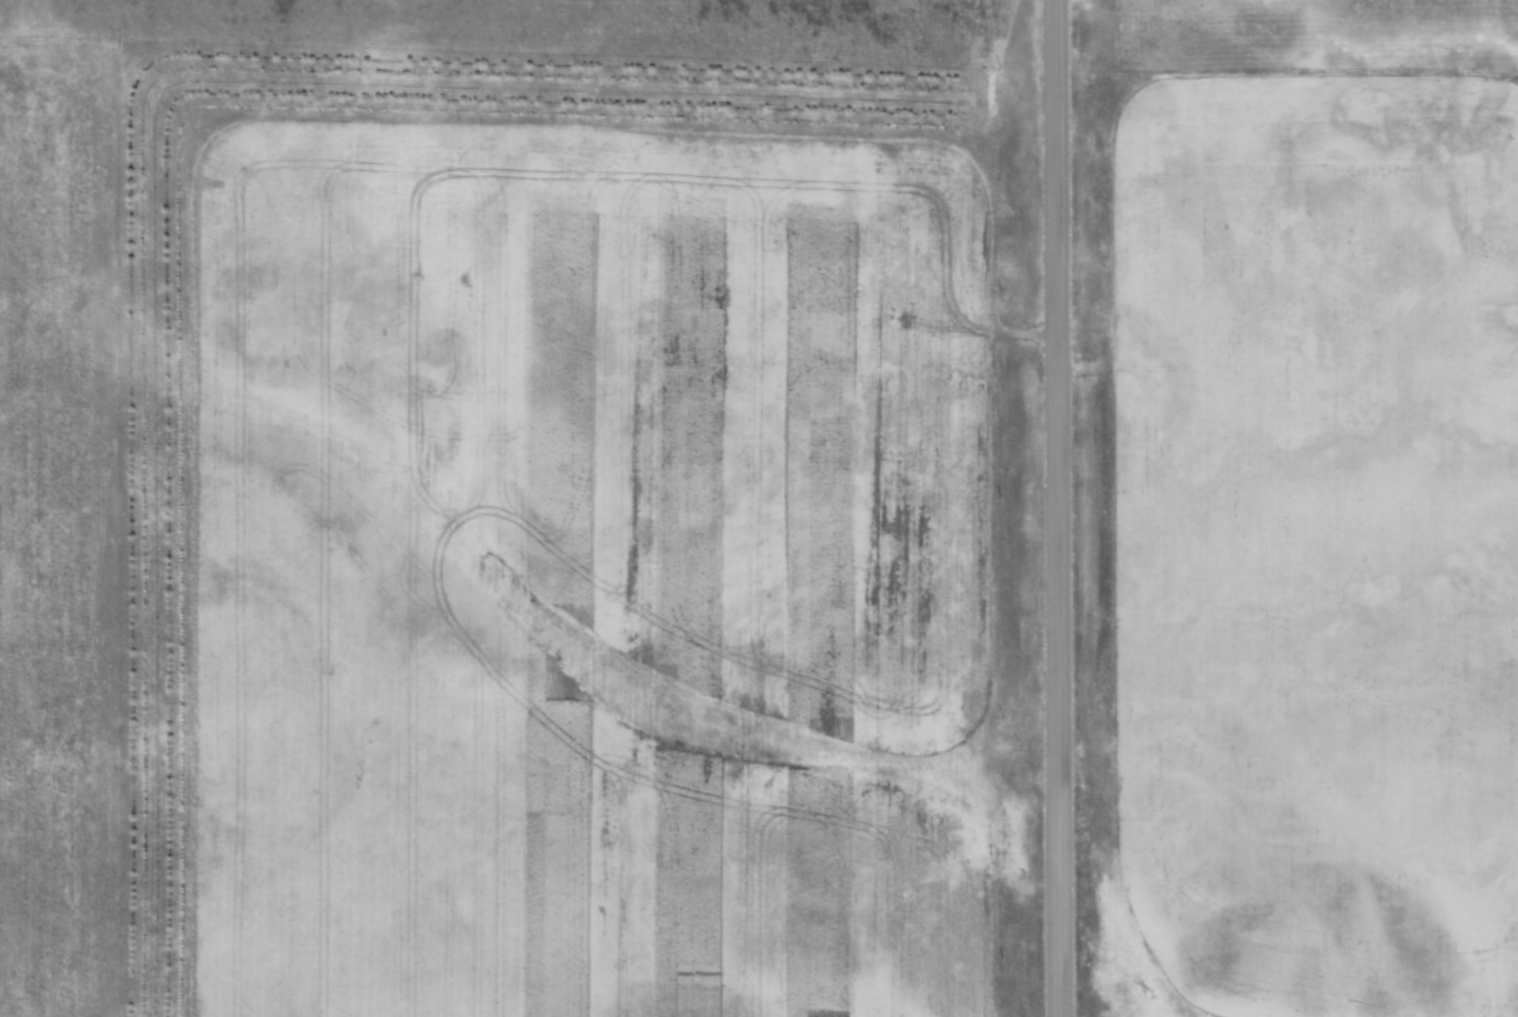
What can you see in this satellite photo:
road: (1057, 508)

